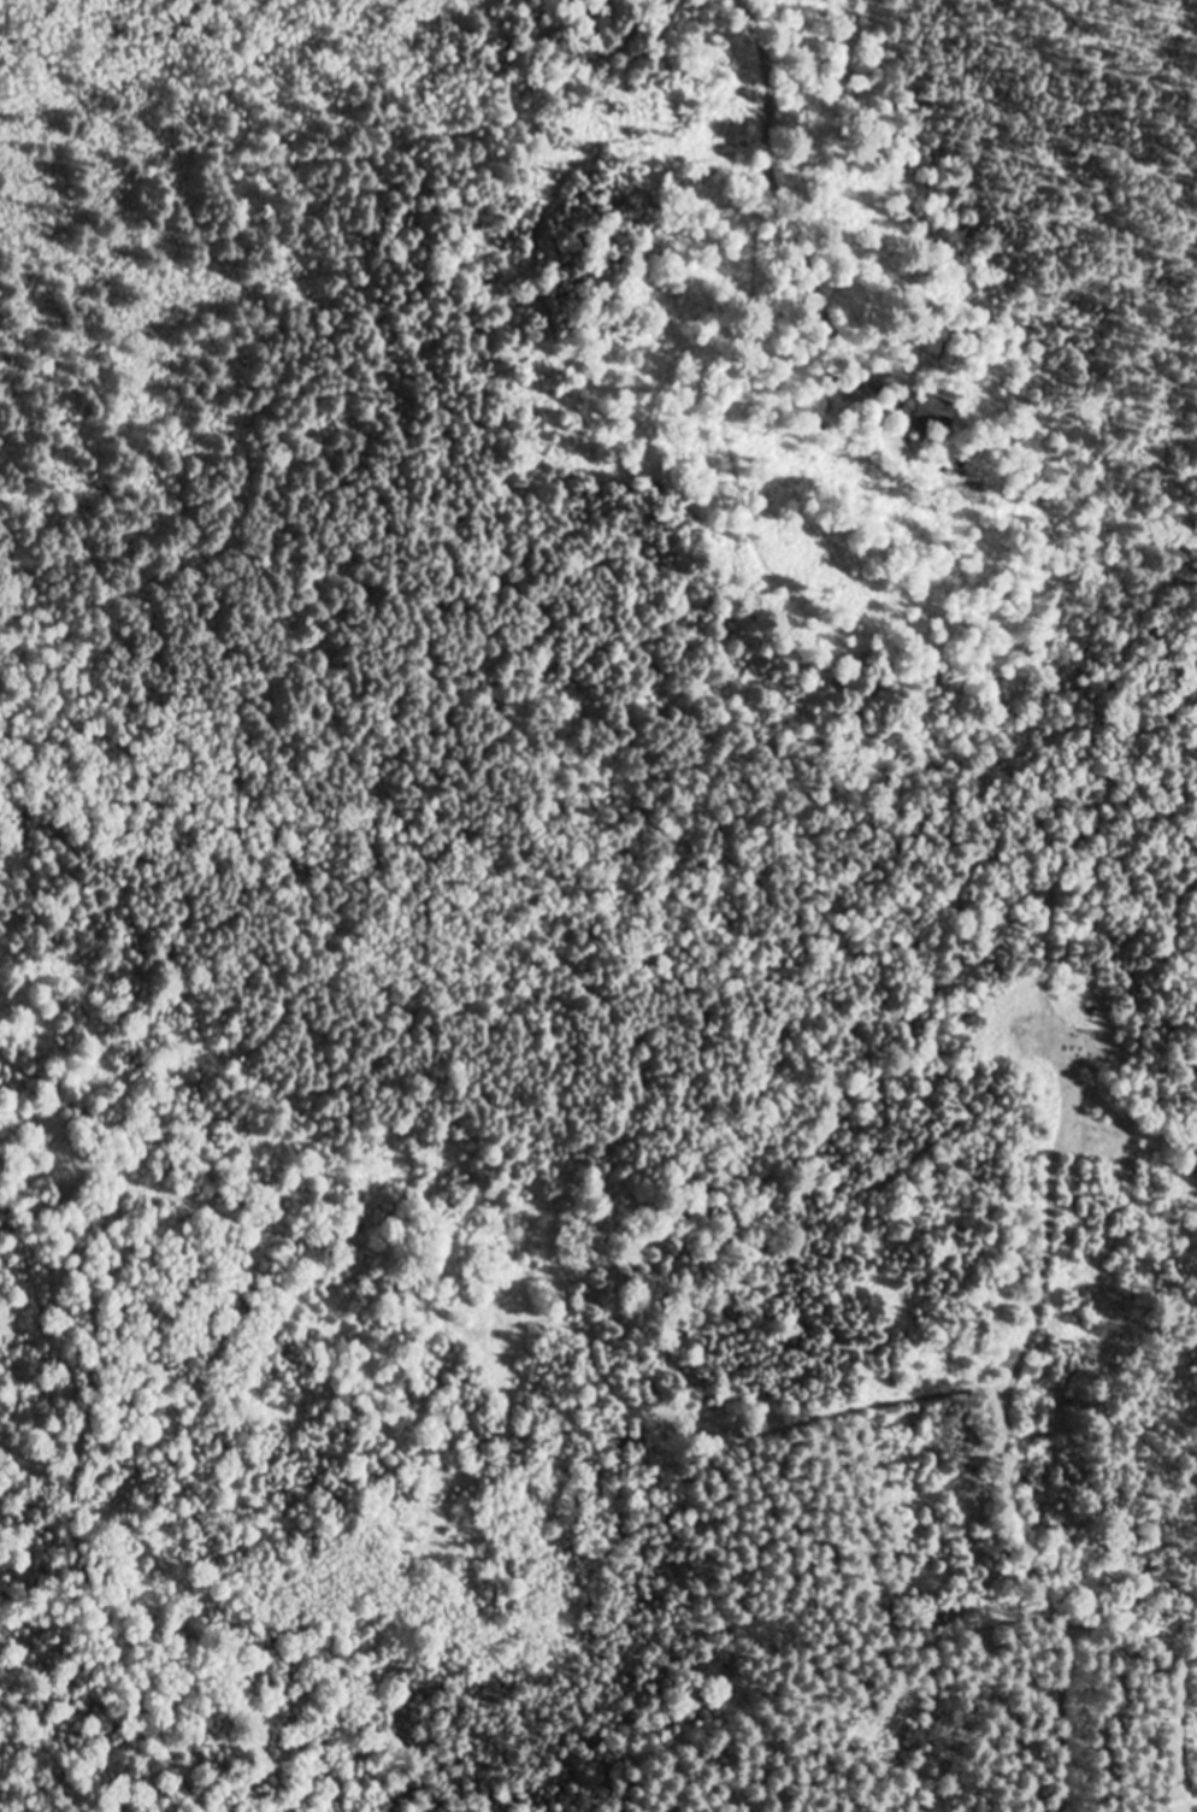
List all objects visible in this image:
building: (932, 417)

